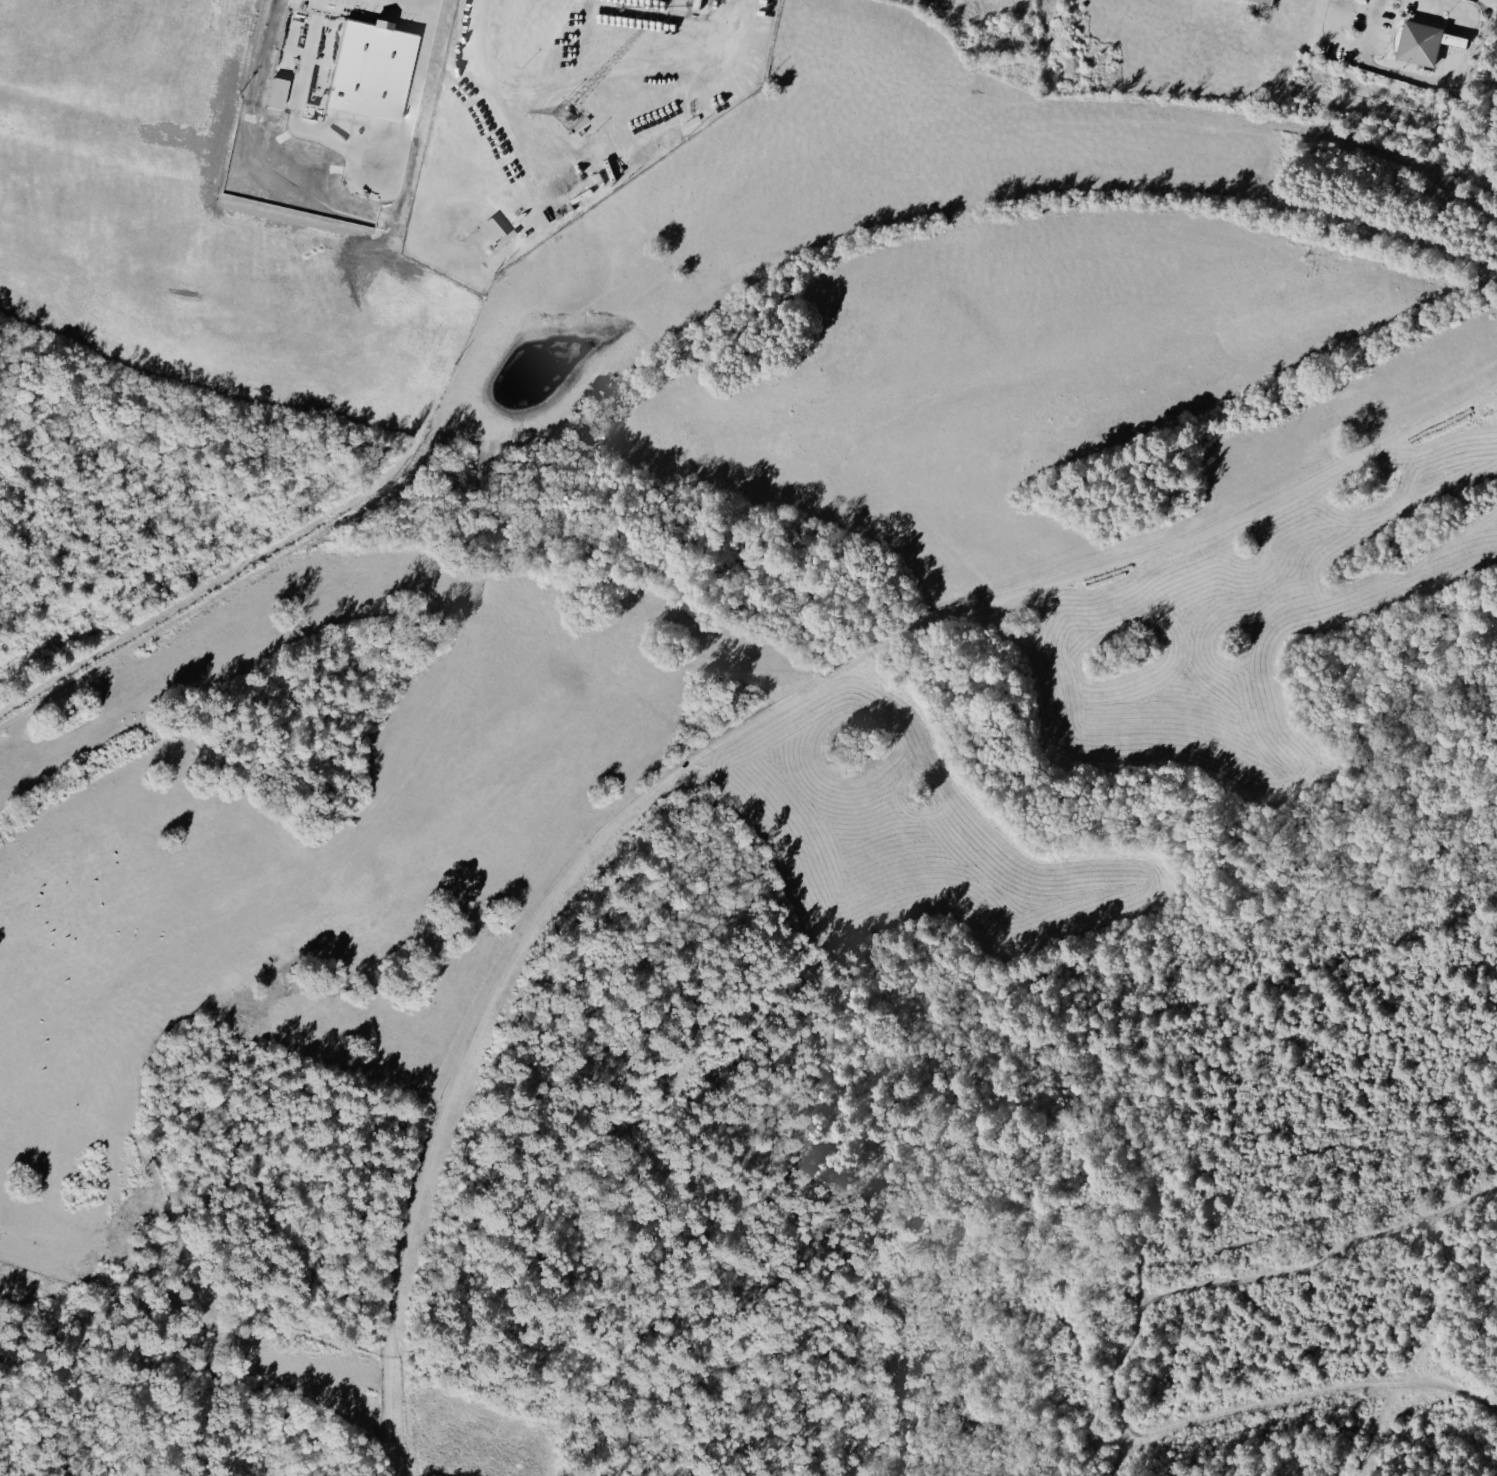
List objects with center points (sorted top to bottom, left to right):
building: (1259, 3)
road: (1368, 26)
building: (1421, 42)
road: (1420, 75)
road: (583, 89)
building: (492, 231)

